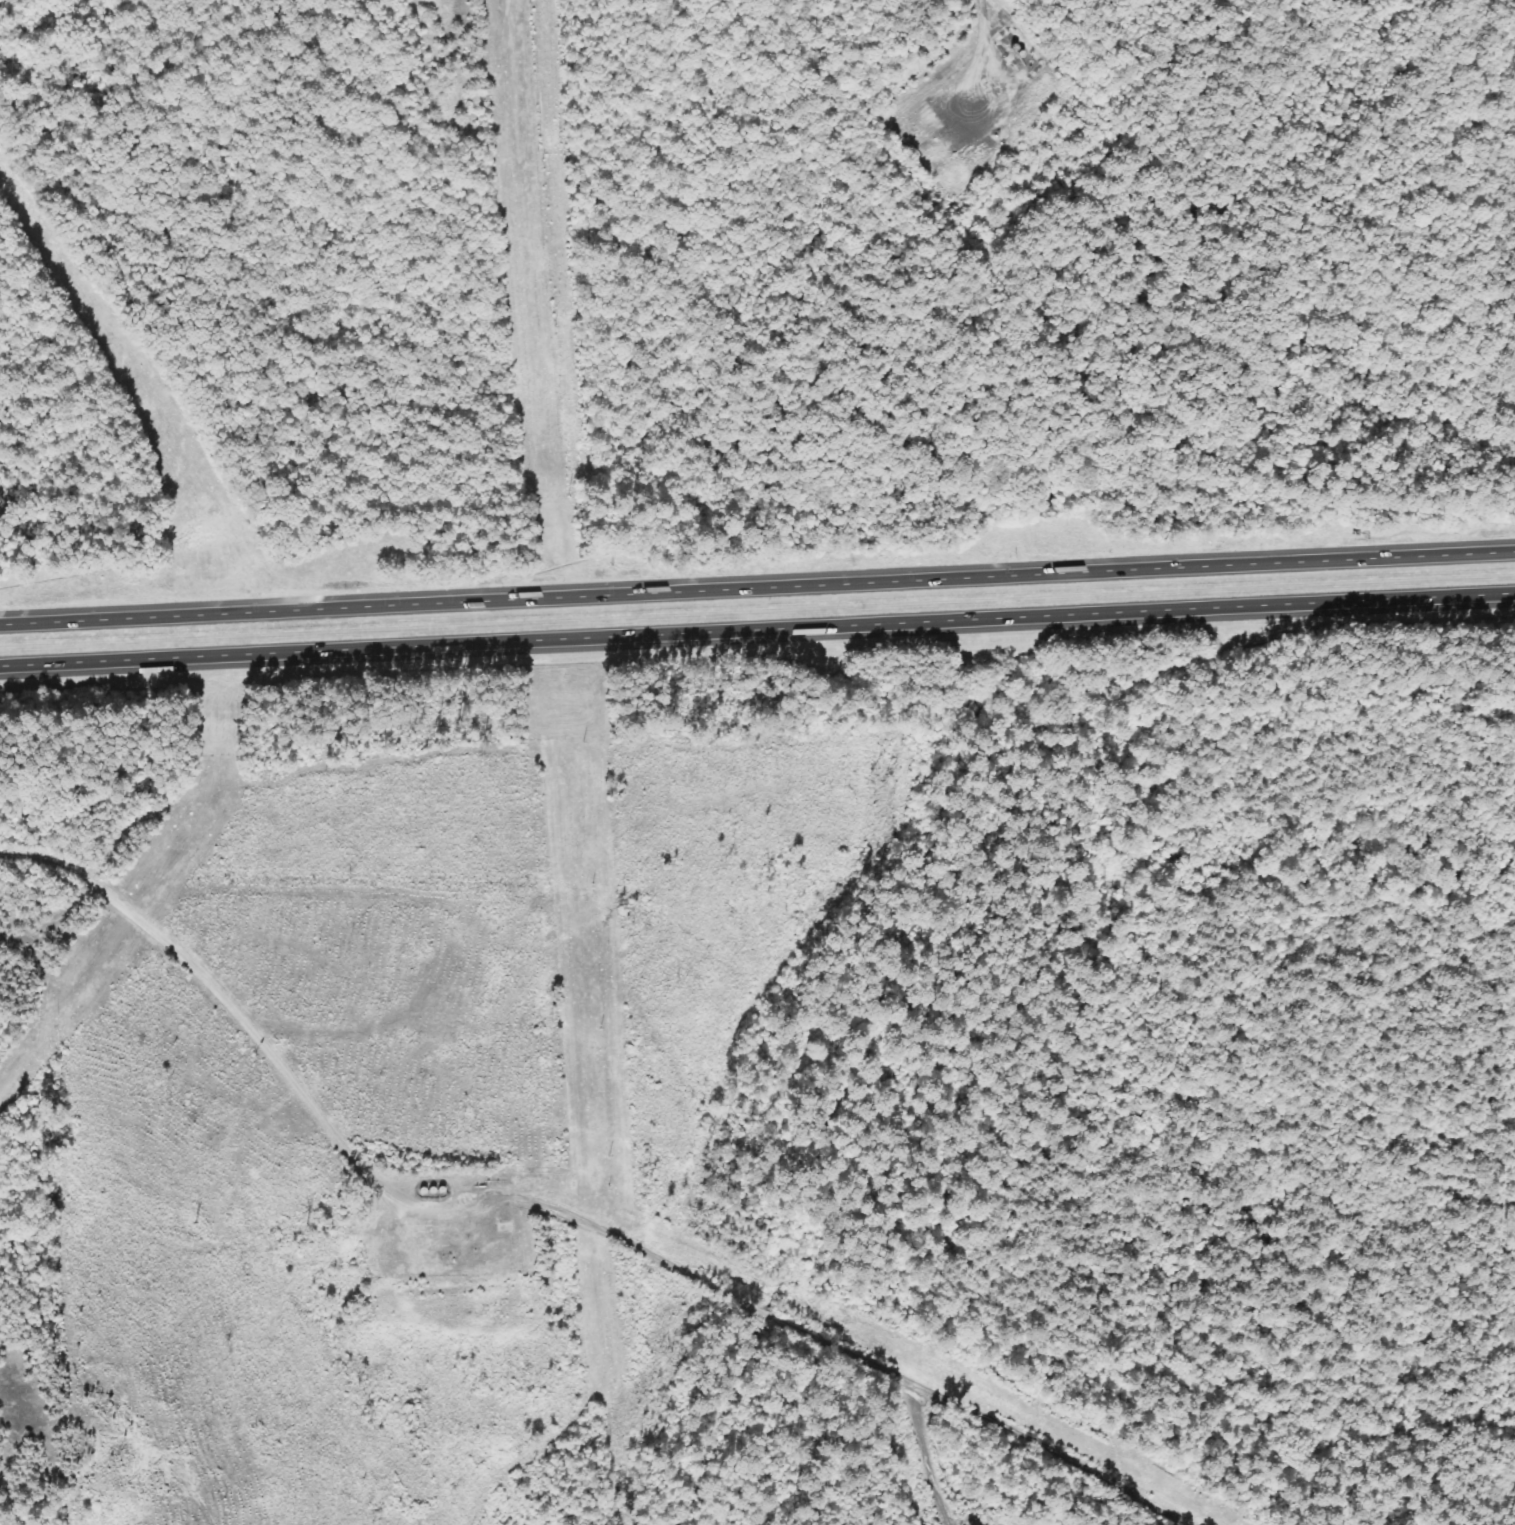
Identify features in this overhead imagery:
road: (757, 587)
road: (757, 628)

